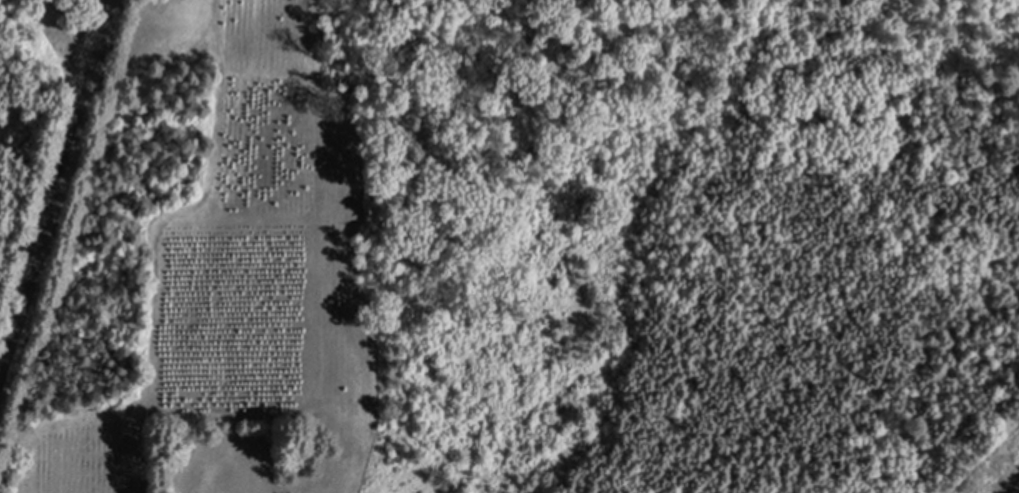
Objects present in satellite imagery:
road: (55, 215)
road: (1015, 489)

